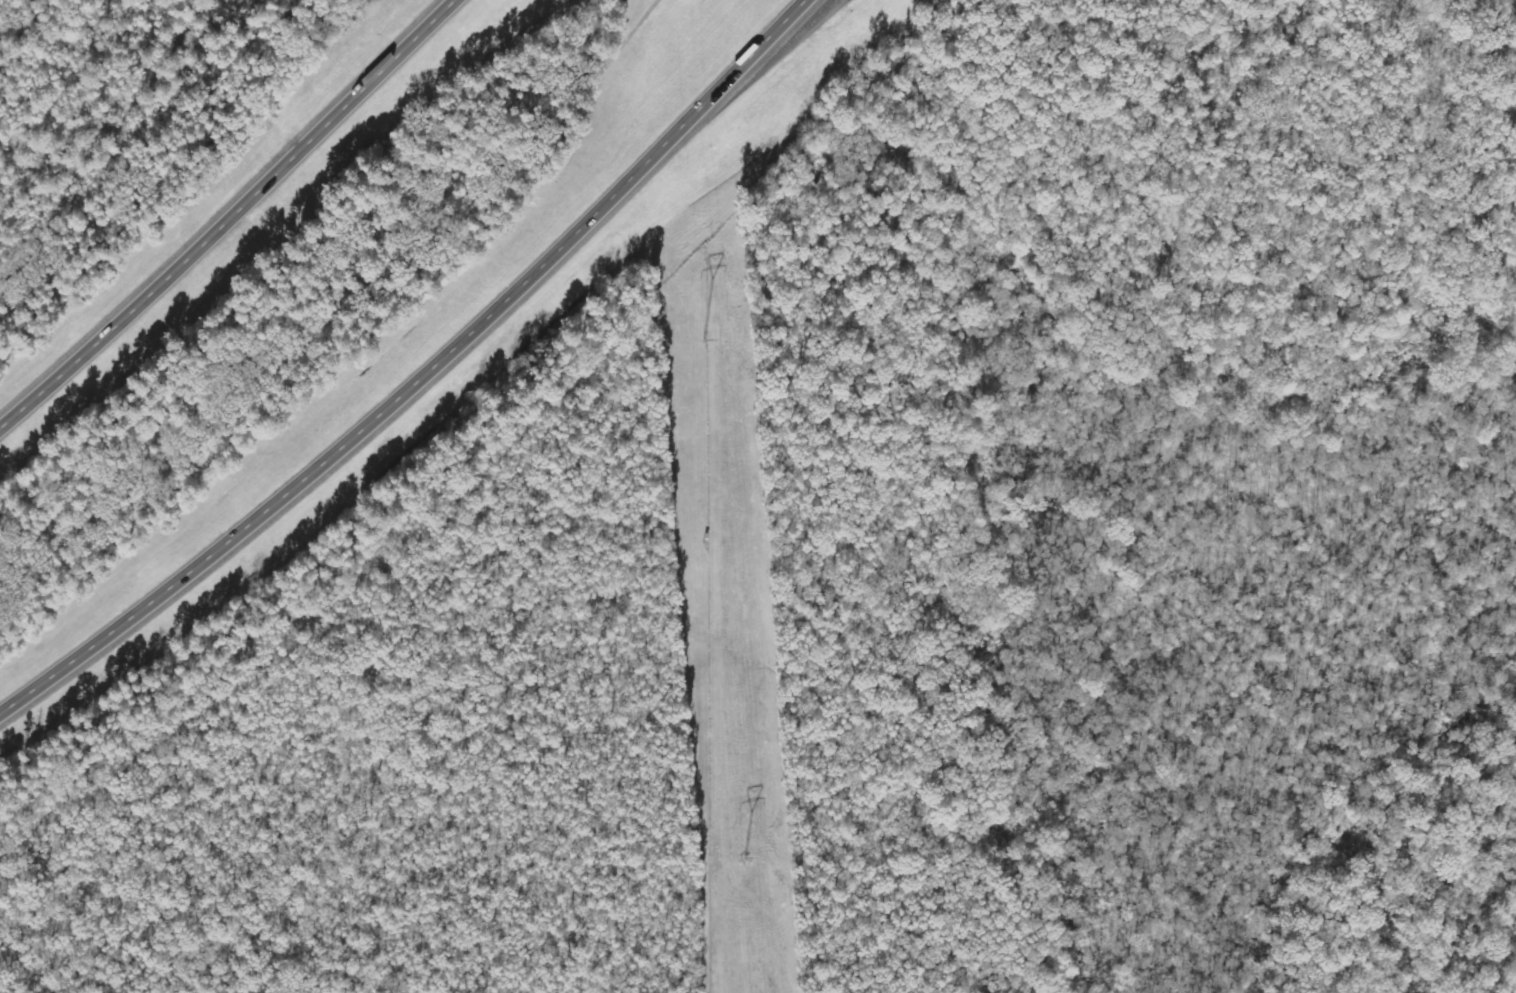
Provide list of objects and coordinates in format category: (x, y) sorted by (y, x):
road: (228, 217)
power tower: (705, 339)
road: (419, 373)
power tower: (742, 857)

